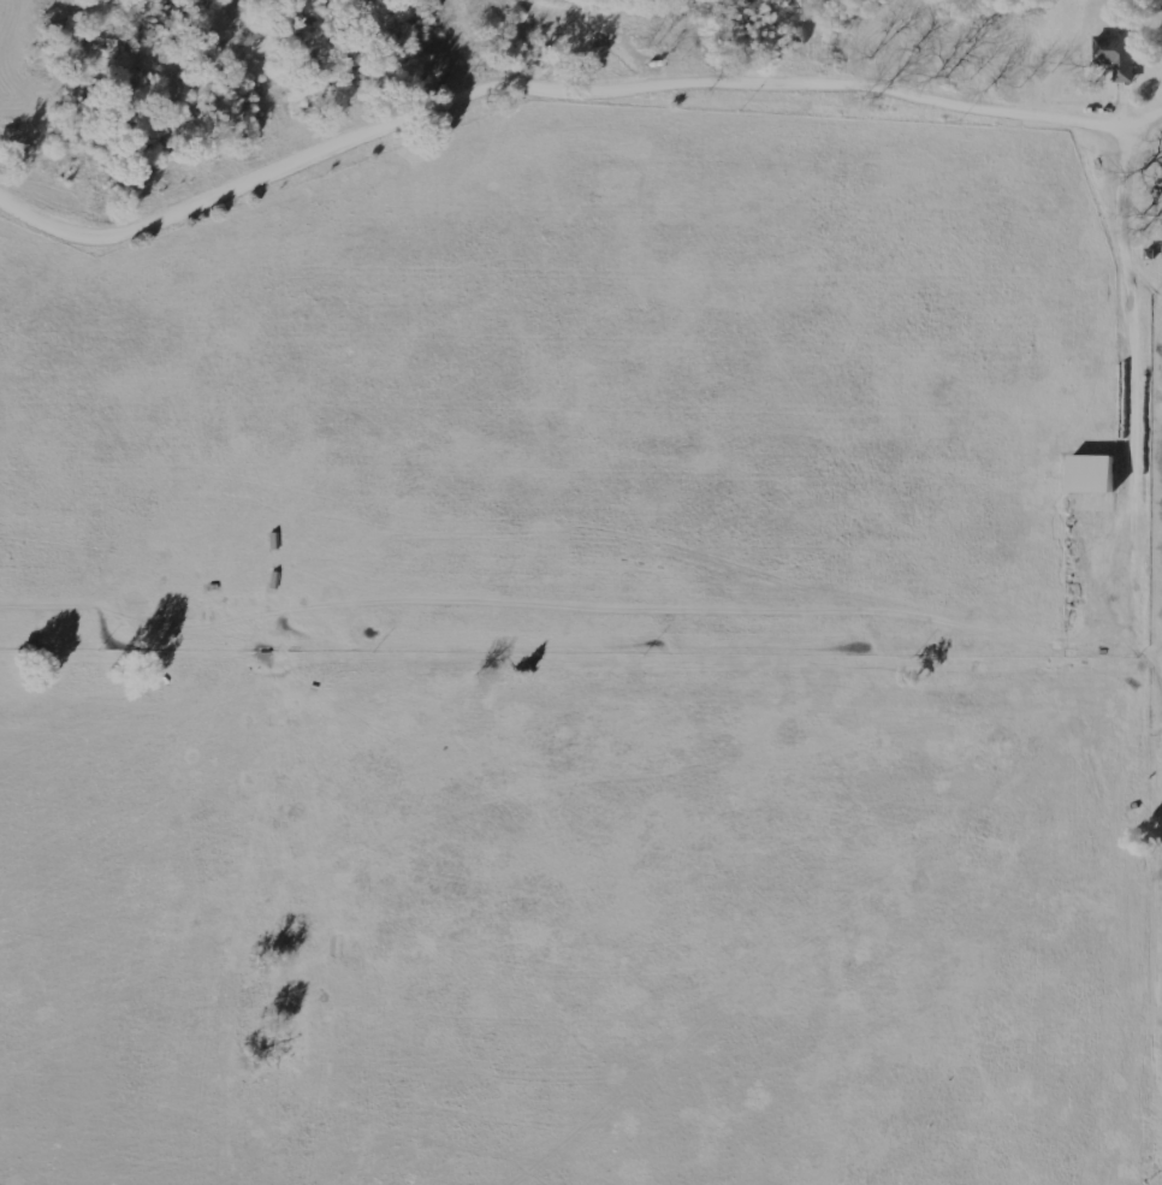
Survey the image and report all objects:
building: (1121, 54)
building: (1098, 473)

